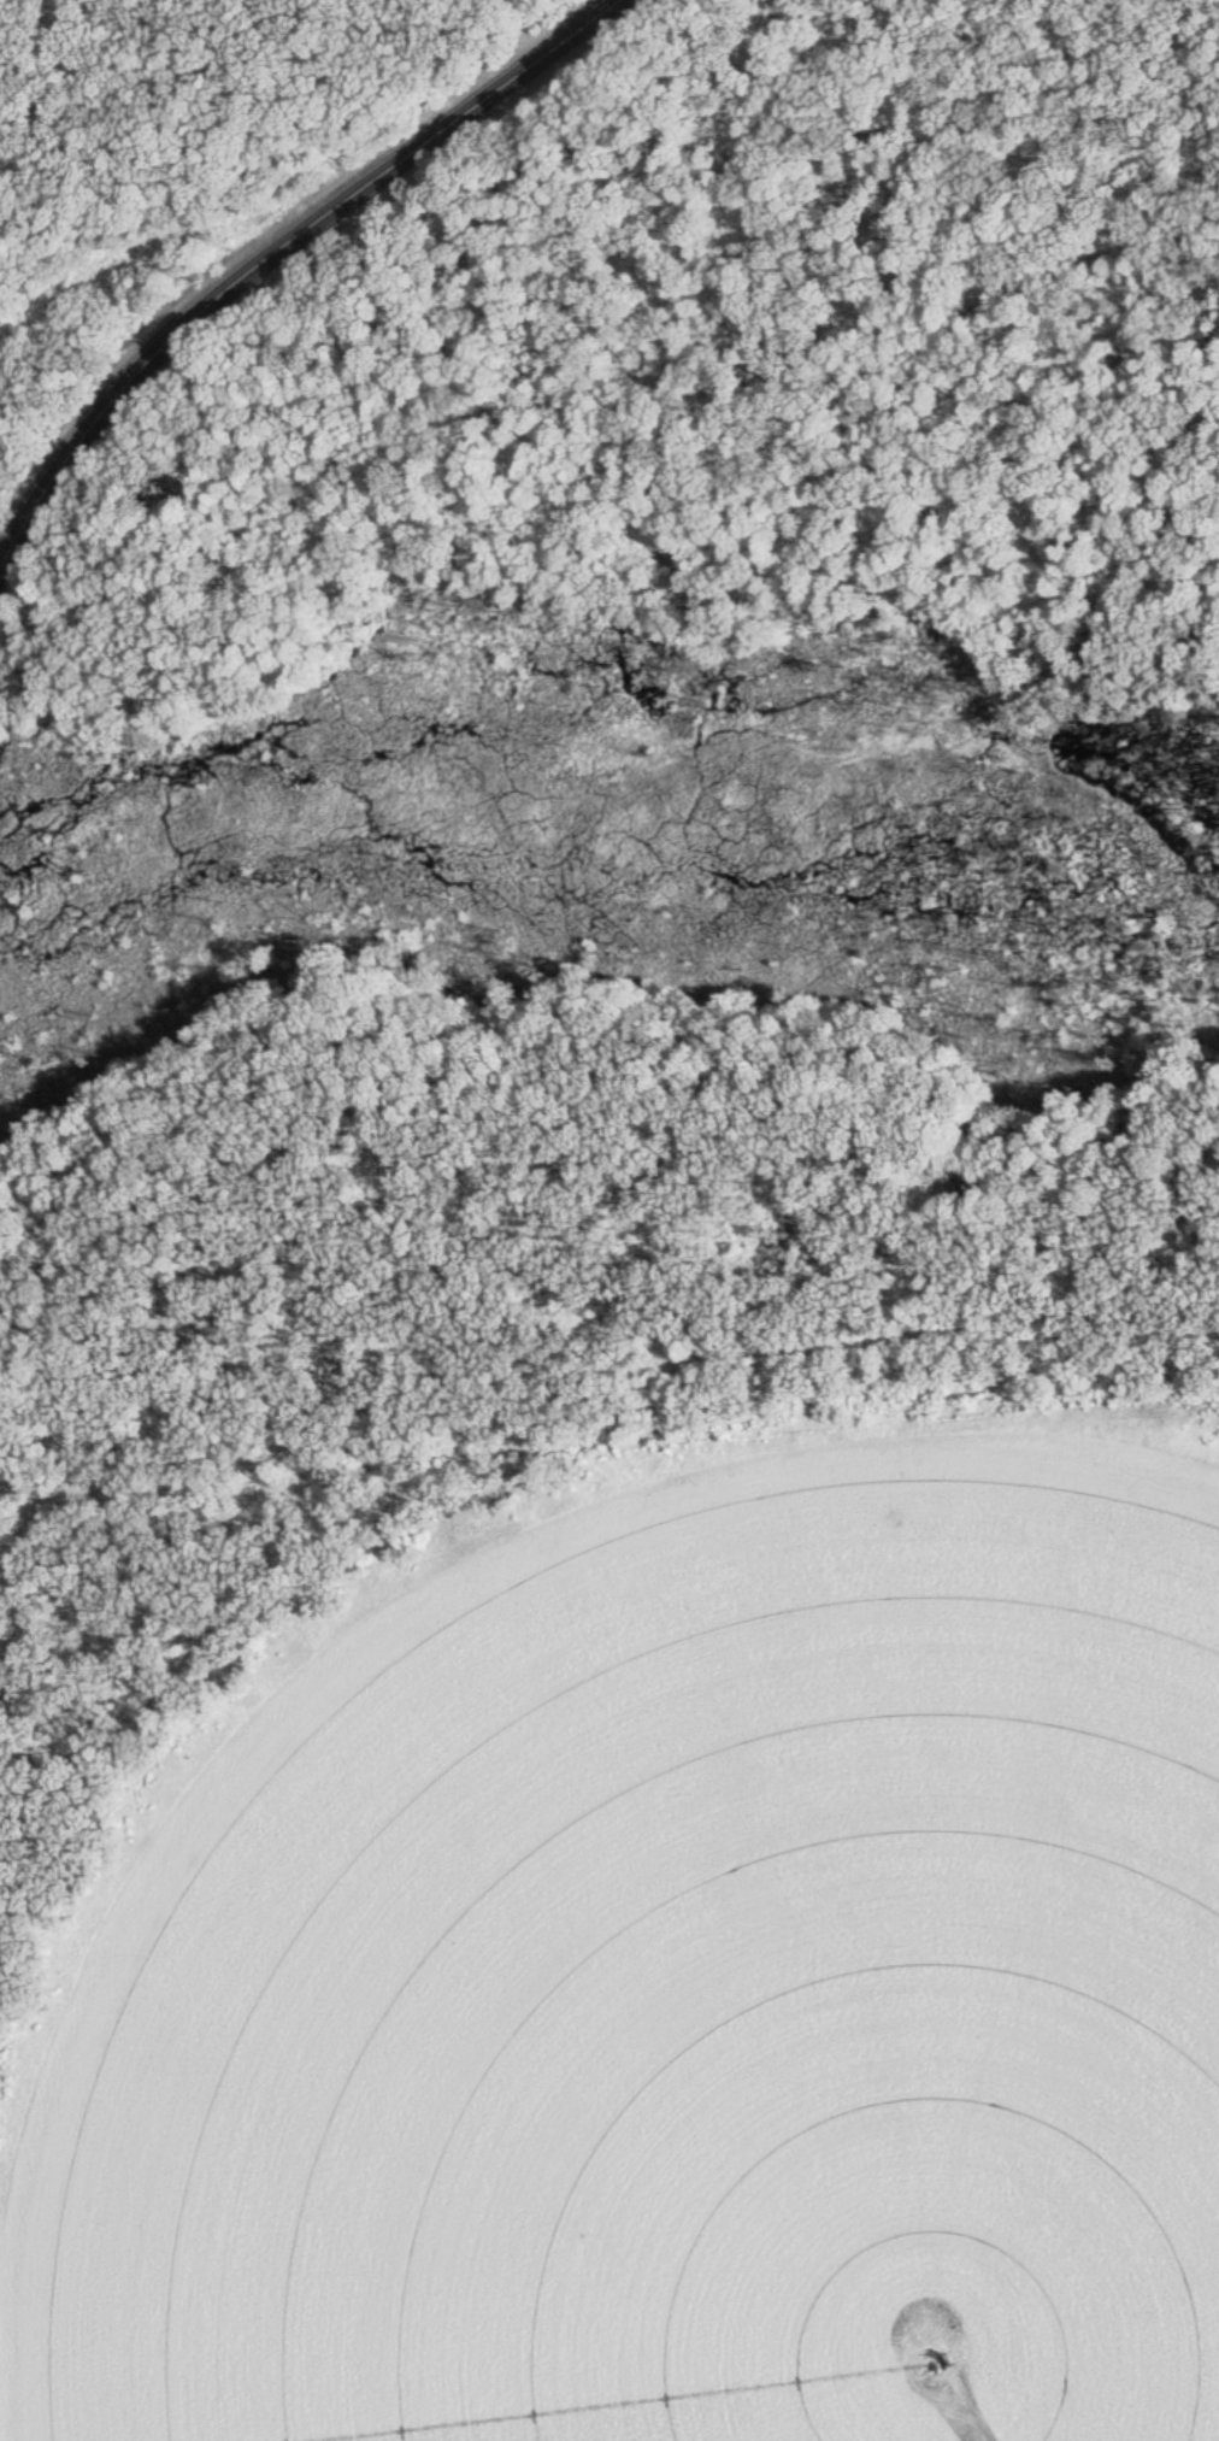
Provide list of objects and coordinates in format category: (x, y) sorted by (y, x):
road: (273, 251)
wastewater plant: (635, 1898)

